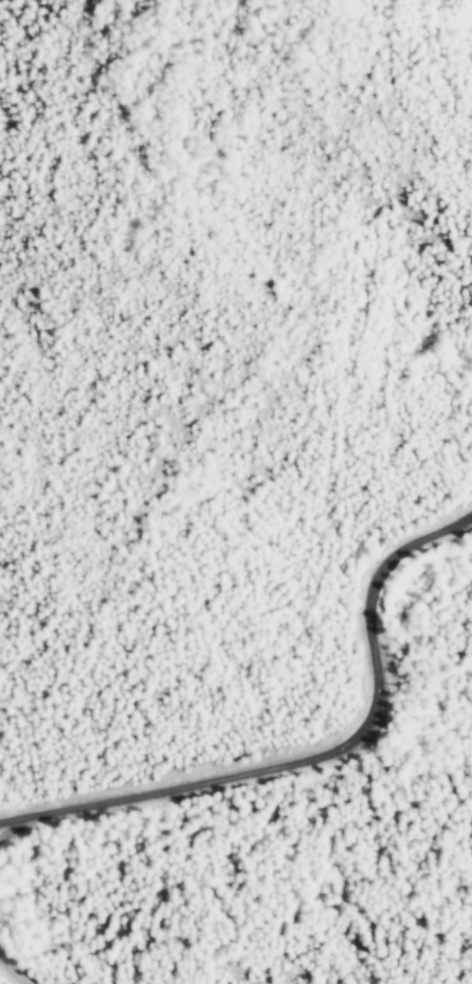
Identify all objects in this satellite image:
road: (325, 761)

